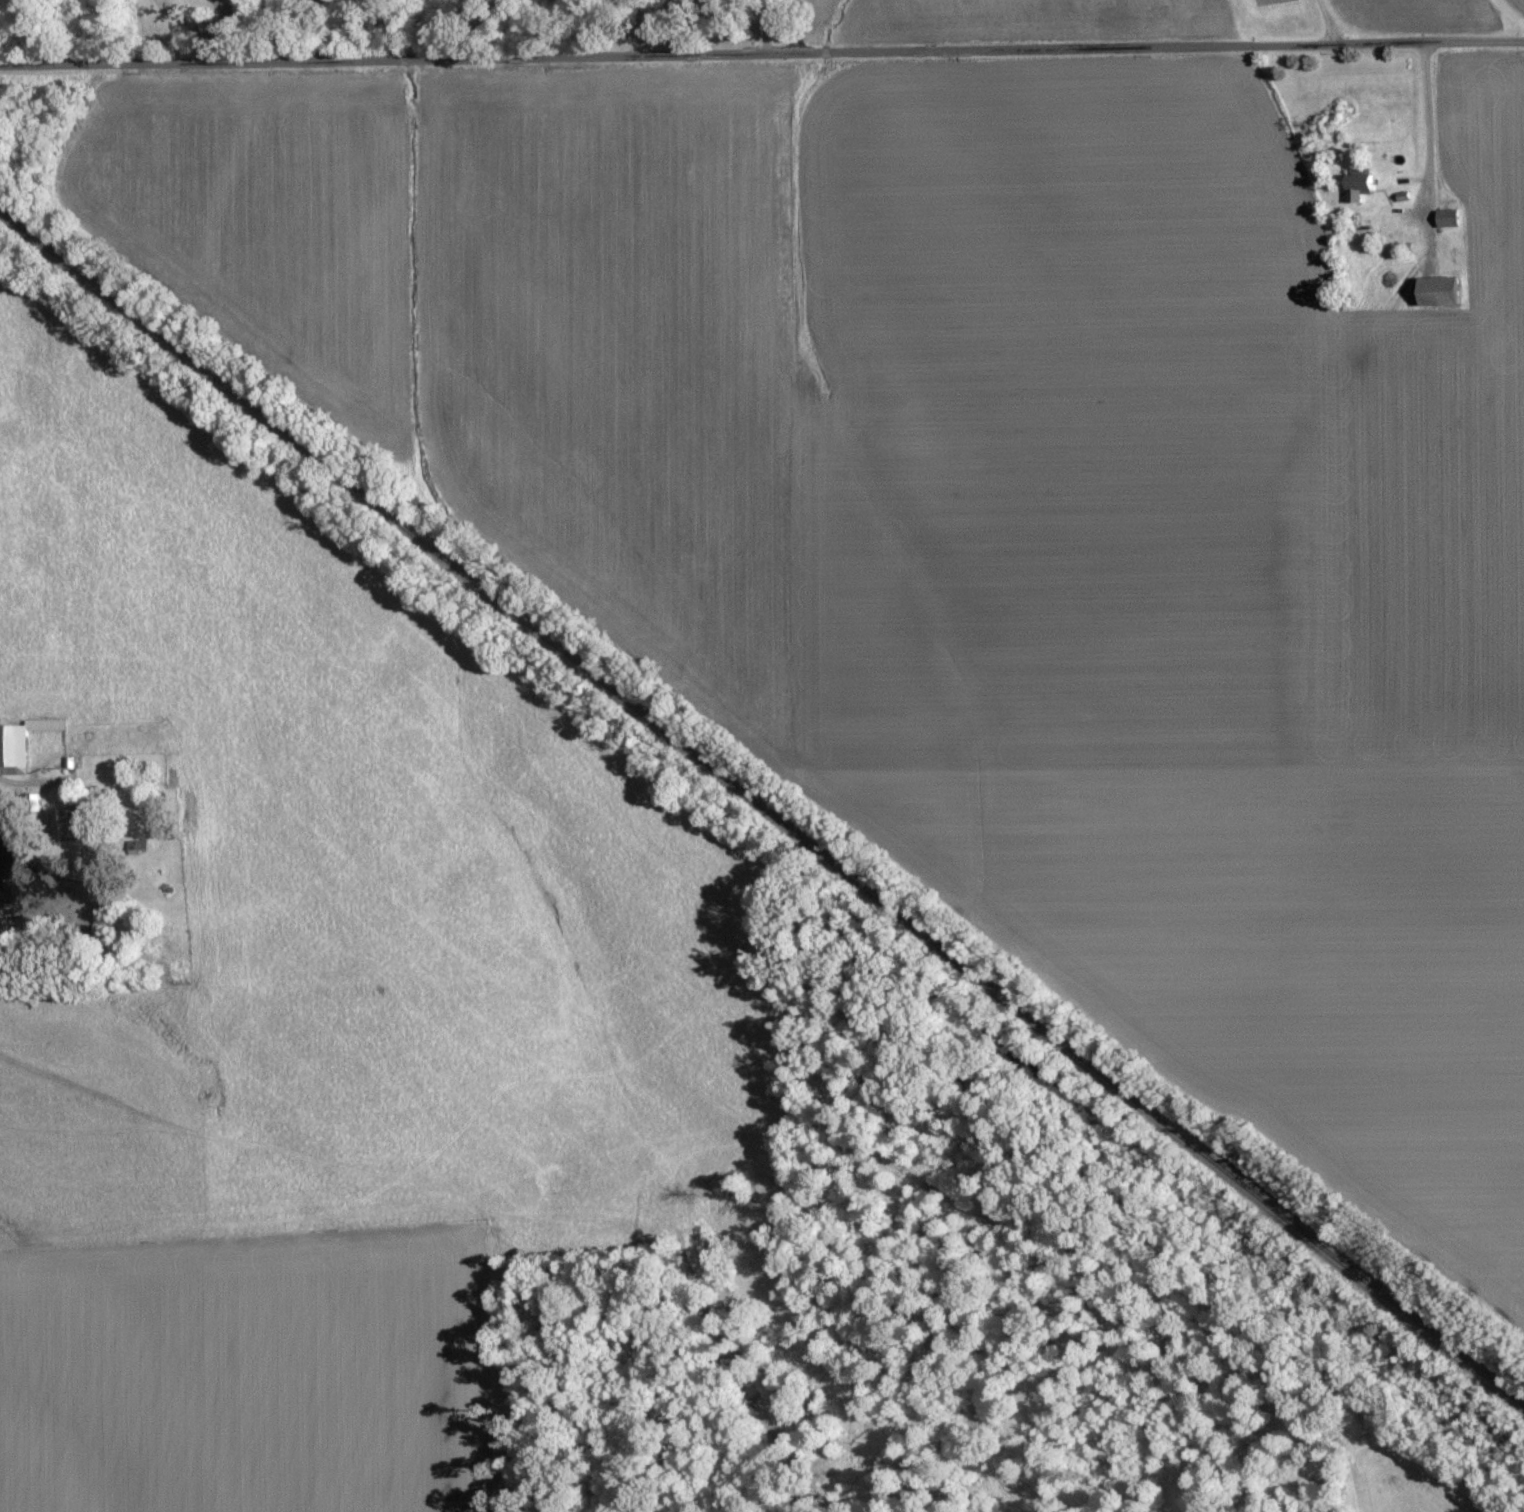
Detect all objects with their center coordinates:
road: (1325, 22)
road: (197, 25)
road: (644, 25)
road: (764, 26)
road: (761, 55)
road: (1430, 139)
building: (1357, 191)
building: (1447, 219)
building: (1440, 292)
building: (20, 745)
road: (24, 784)
railway: (762, 821)
building: (62, 827)

